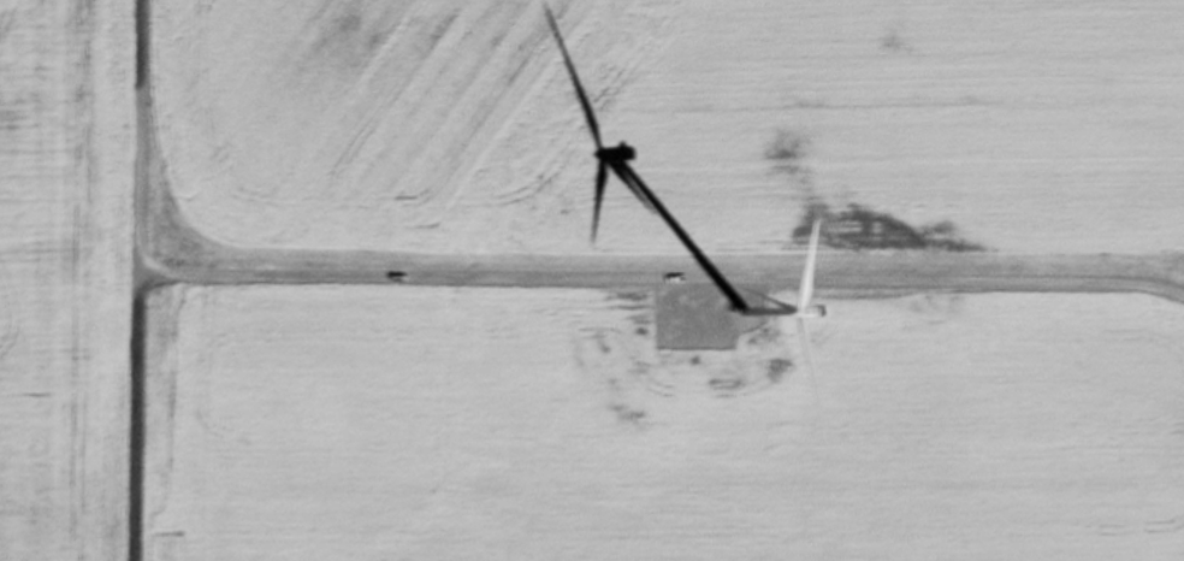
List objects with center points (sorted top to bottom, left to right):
road: (137, 280)
road: (662, 287)
wind turbine: (738, 317)
building: (677, 370)
building: (677, 382)

